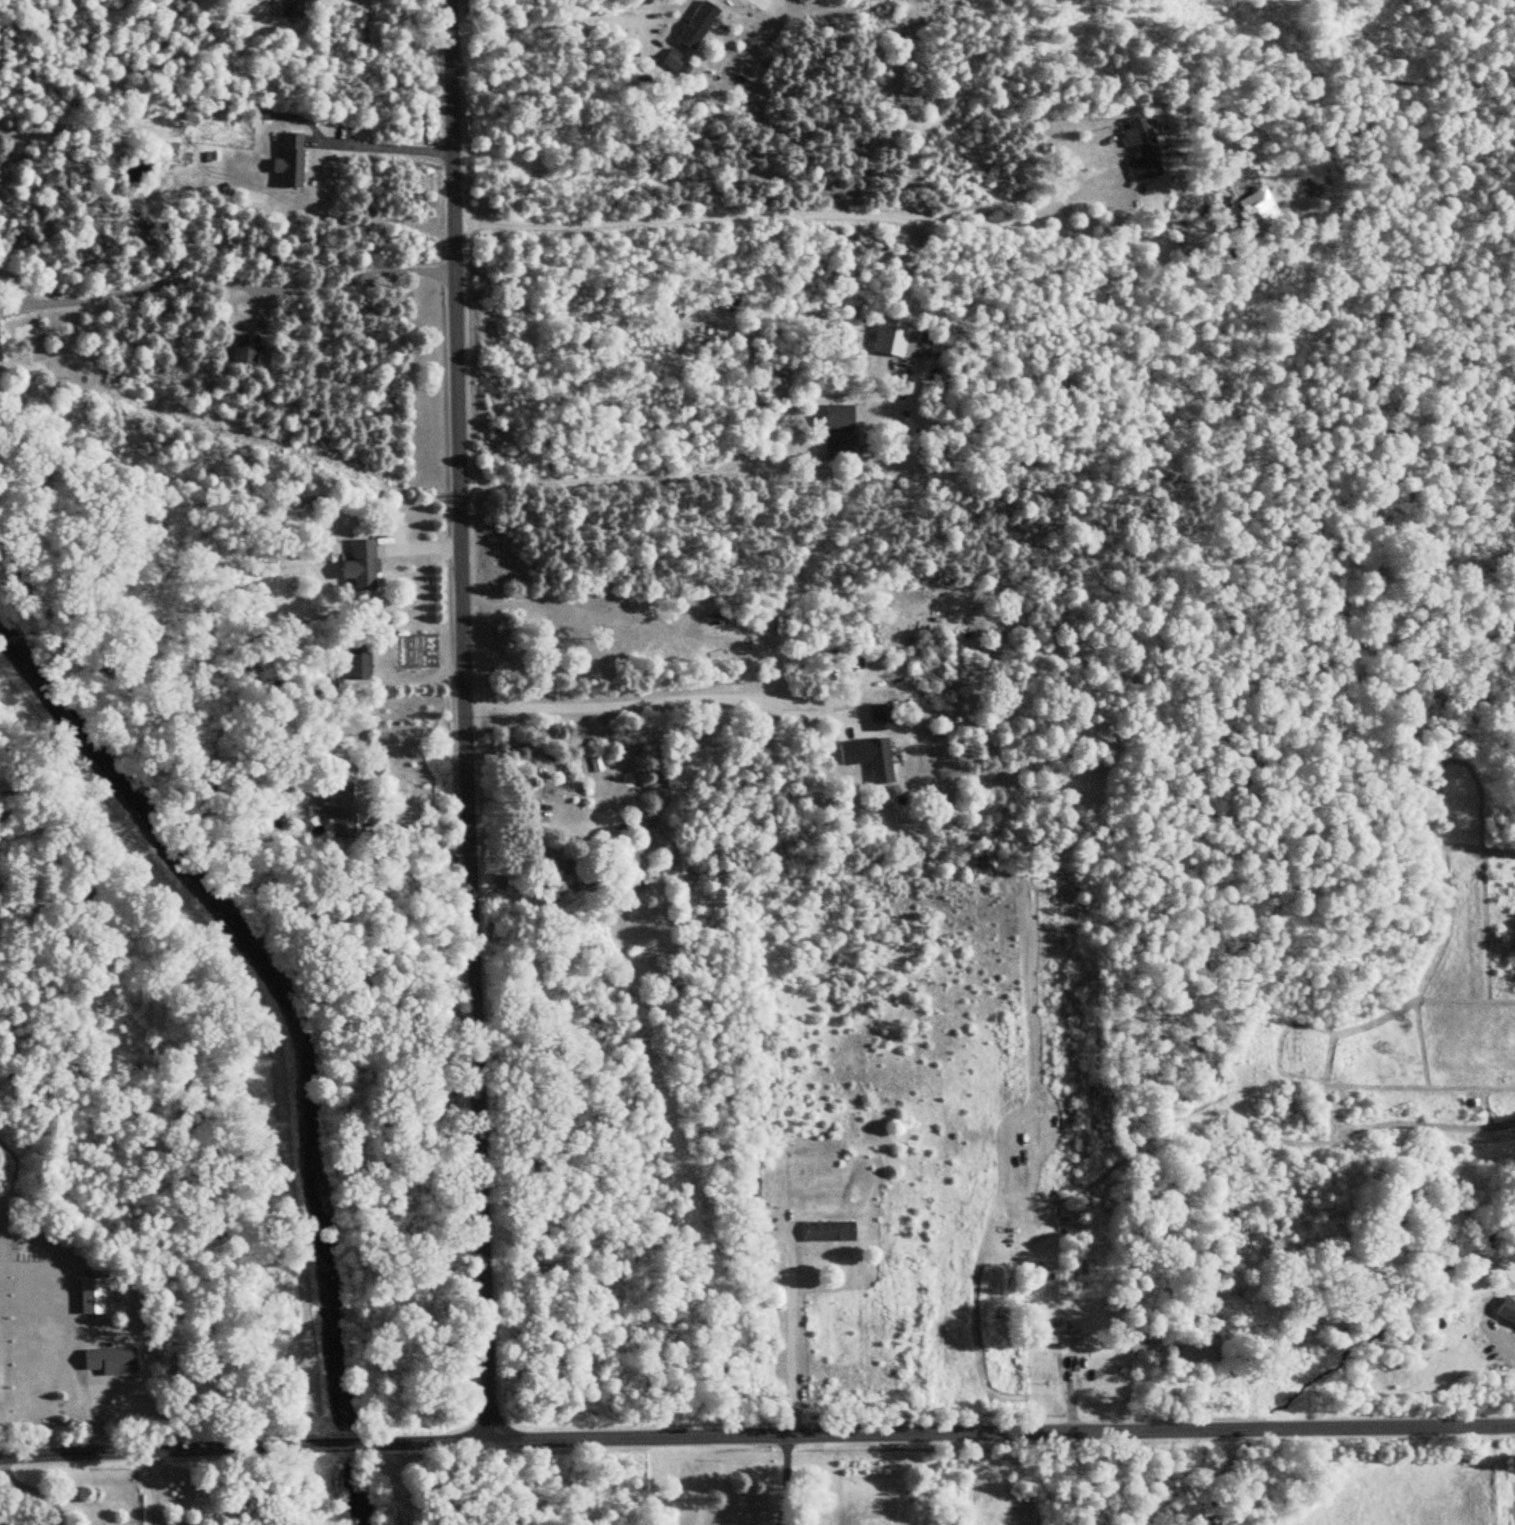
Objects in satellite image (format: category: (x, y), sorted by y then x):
building: (286, 7)
road: (554, 22)
building: (695, 24)
building: (671, 59)
road: (378, 144)
building: (1139, 148)
building: (286, 160)
road: (824, 213)
building: (1260, 215)
road: (229, 281)
building: (892, 337)
building: (708, 339)
building: (241, 348)
building: (836, 427)
road: (653, 481)
building: (360, 564)
building: (353, 660)
road: (661, 699)
building: (877, 716)
road: (469, 719)
building: (876, 760)
building: (335, 808)
road: (421, 834)
building: (545, 864)
building: (628, 886)
building: (826, 1231)
building: (88, 1296)
building: (1505, 1311)
road: (788, 1326)
building: (1054, 1339)
building: (107, 1361)
road: (1002, 1428)
road: (435, 1441)
road: (190, 1447)
road: (785, 1479)
road: (390, 1484)
road: (153, 1486)
road: (30, 1488)

